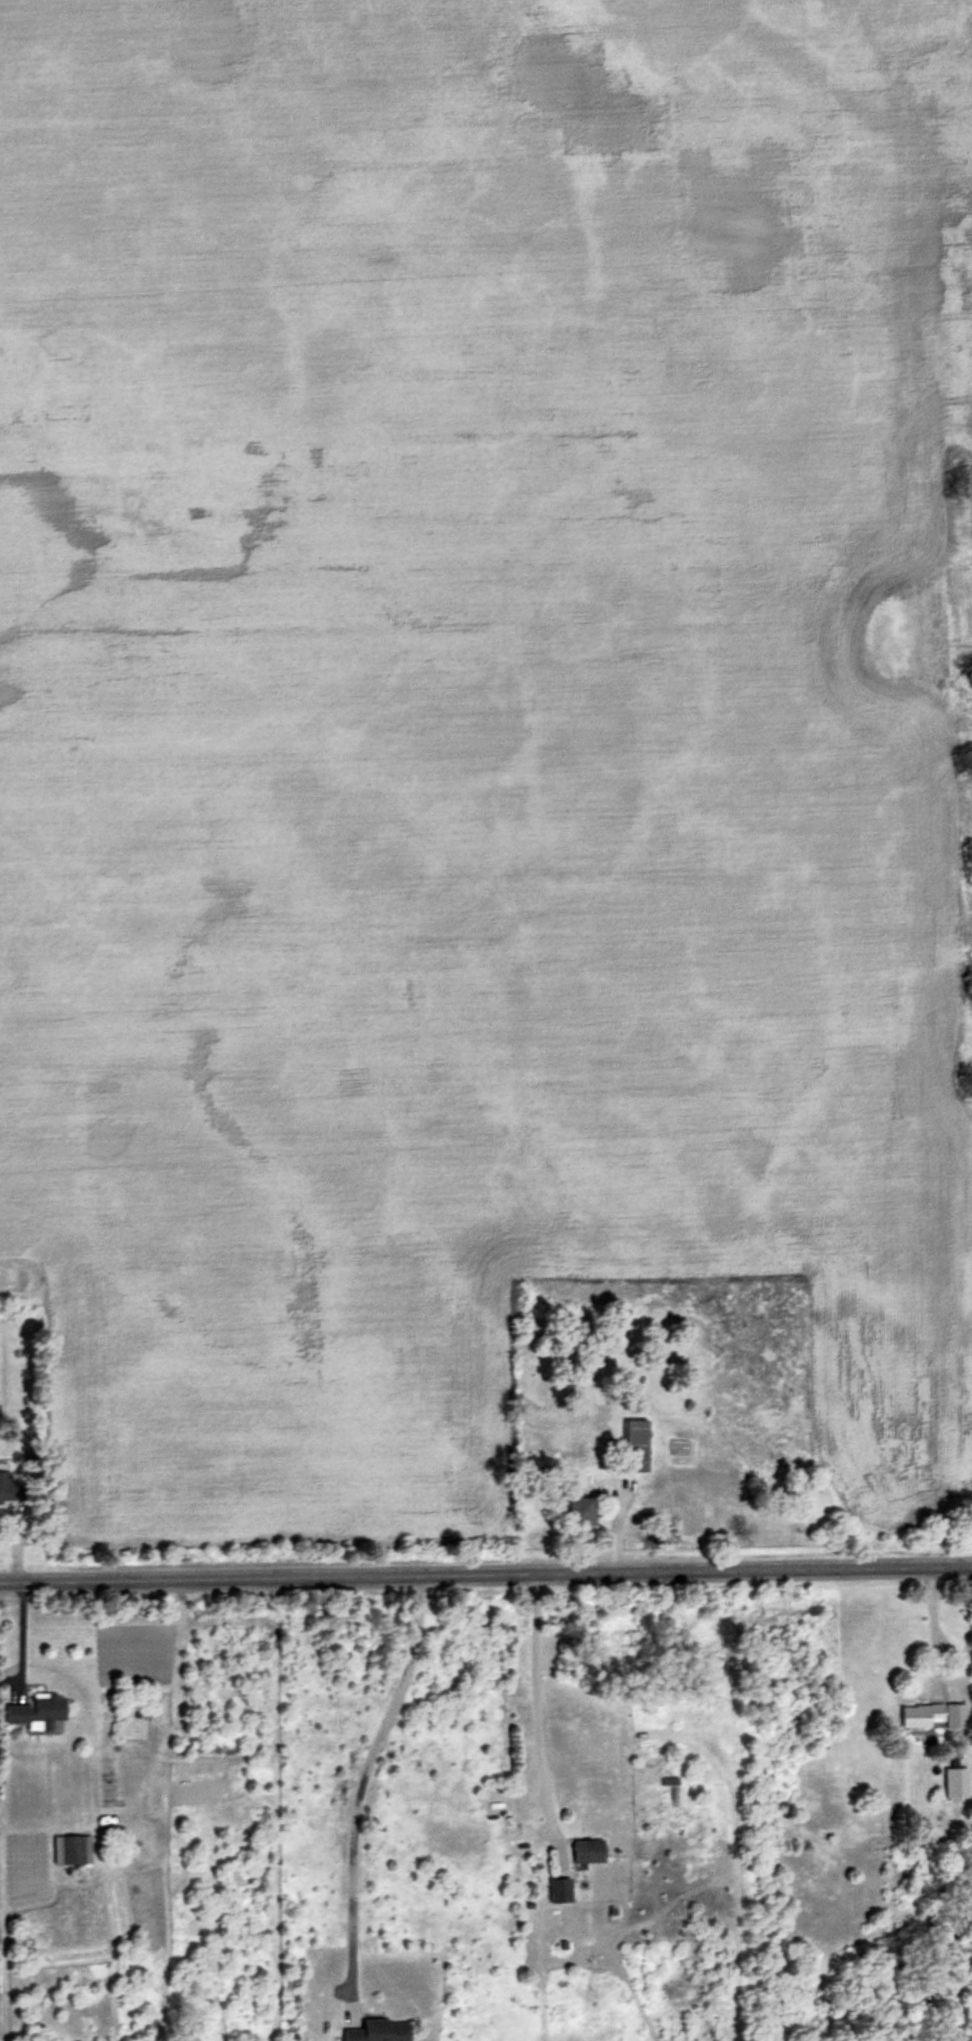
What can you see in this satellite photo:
building: (633, 1446)
building: (29, 1454)
building: (10, 1488)
building: (577, 1512)
road: (614, 1526)
road: (13, 1544)
road: (486, 1574)
road: (933, 1634)
road: (20, 1641)
road: (274, 1708)
building: (37, 1712)
building: (918, 1714)
building: (951, 1716)
road: (537, 1723)
building: (103, 1733)
road: (156, 1780)
building: (958, 1780)
road: (359, 1793)
road: (204, 1802)
building: (71, 1849)
building: (589, 1851)
road: (5, 1861)
building: (560, 1888)
road: (166, 1896)
building: (613, 1911)
building: (560, 1945)
building: (376, 2031)

